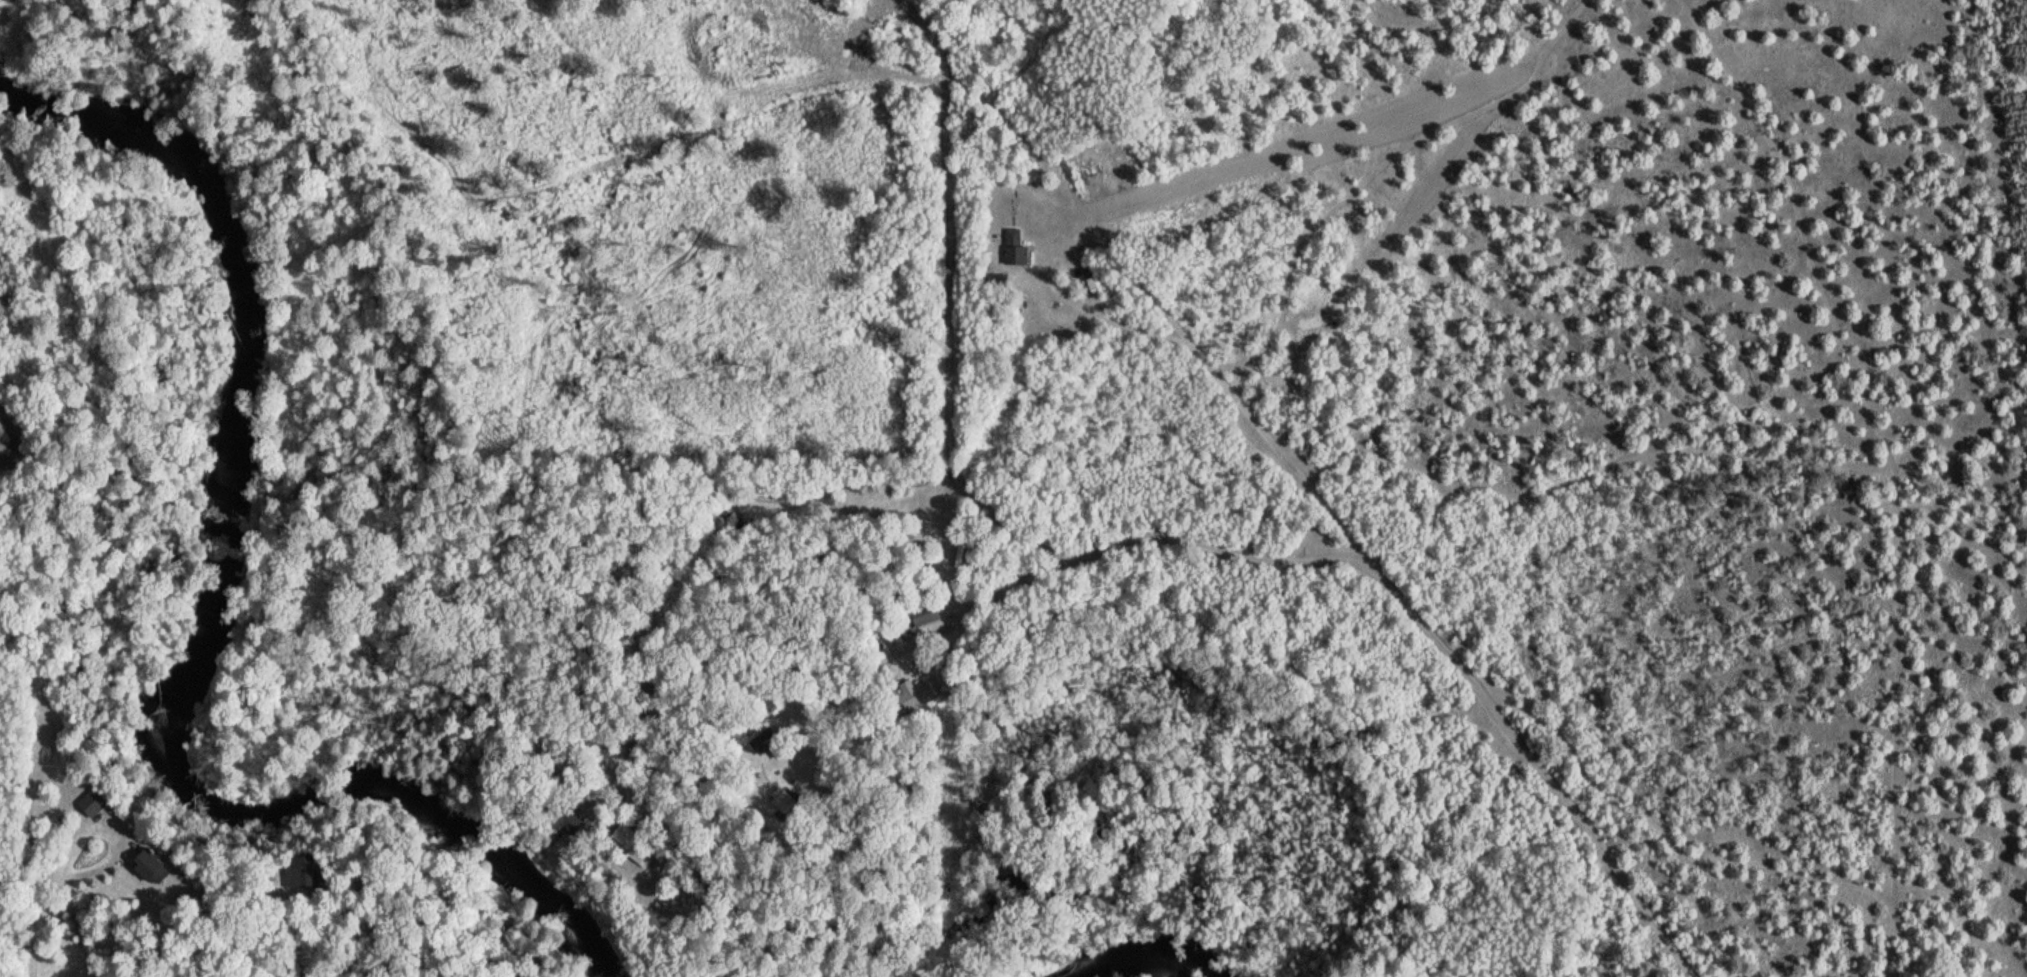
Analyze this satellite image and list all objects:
building: (1014, 248)
building: (996, 280)
road: (1225, 409)
road: (1303, 560)
road: (1920, 591)
building: (923, 612)
river: (216, 627)
building: (906, 630)
building: (913, 694)
building: (768, 743)
road: (1080, 784)
building: (783, 800)
building: (92, 802)
building: (560, 816)
road: (119, 835)
building: (632, 842)
building: (150, 865)
road: (791, 869)
building: (304, 870)
road: (33, 923)
river: (1142, 962)

